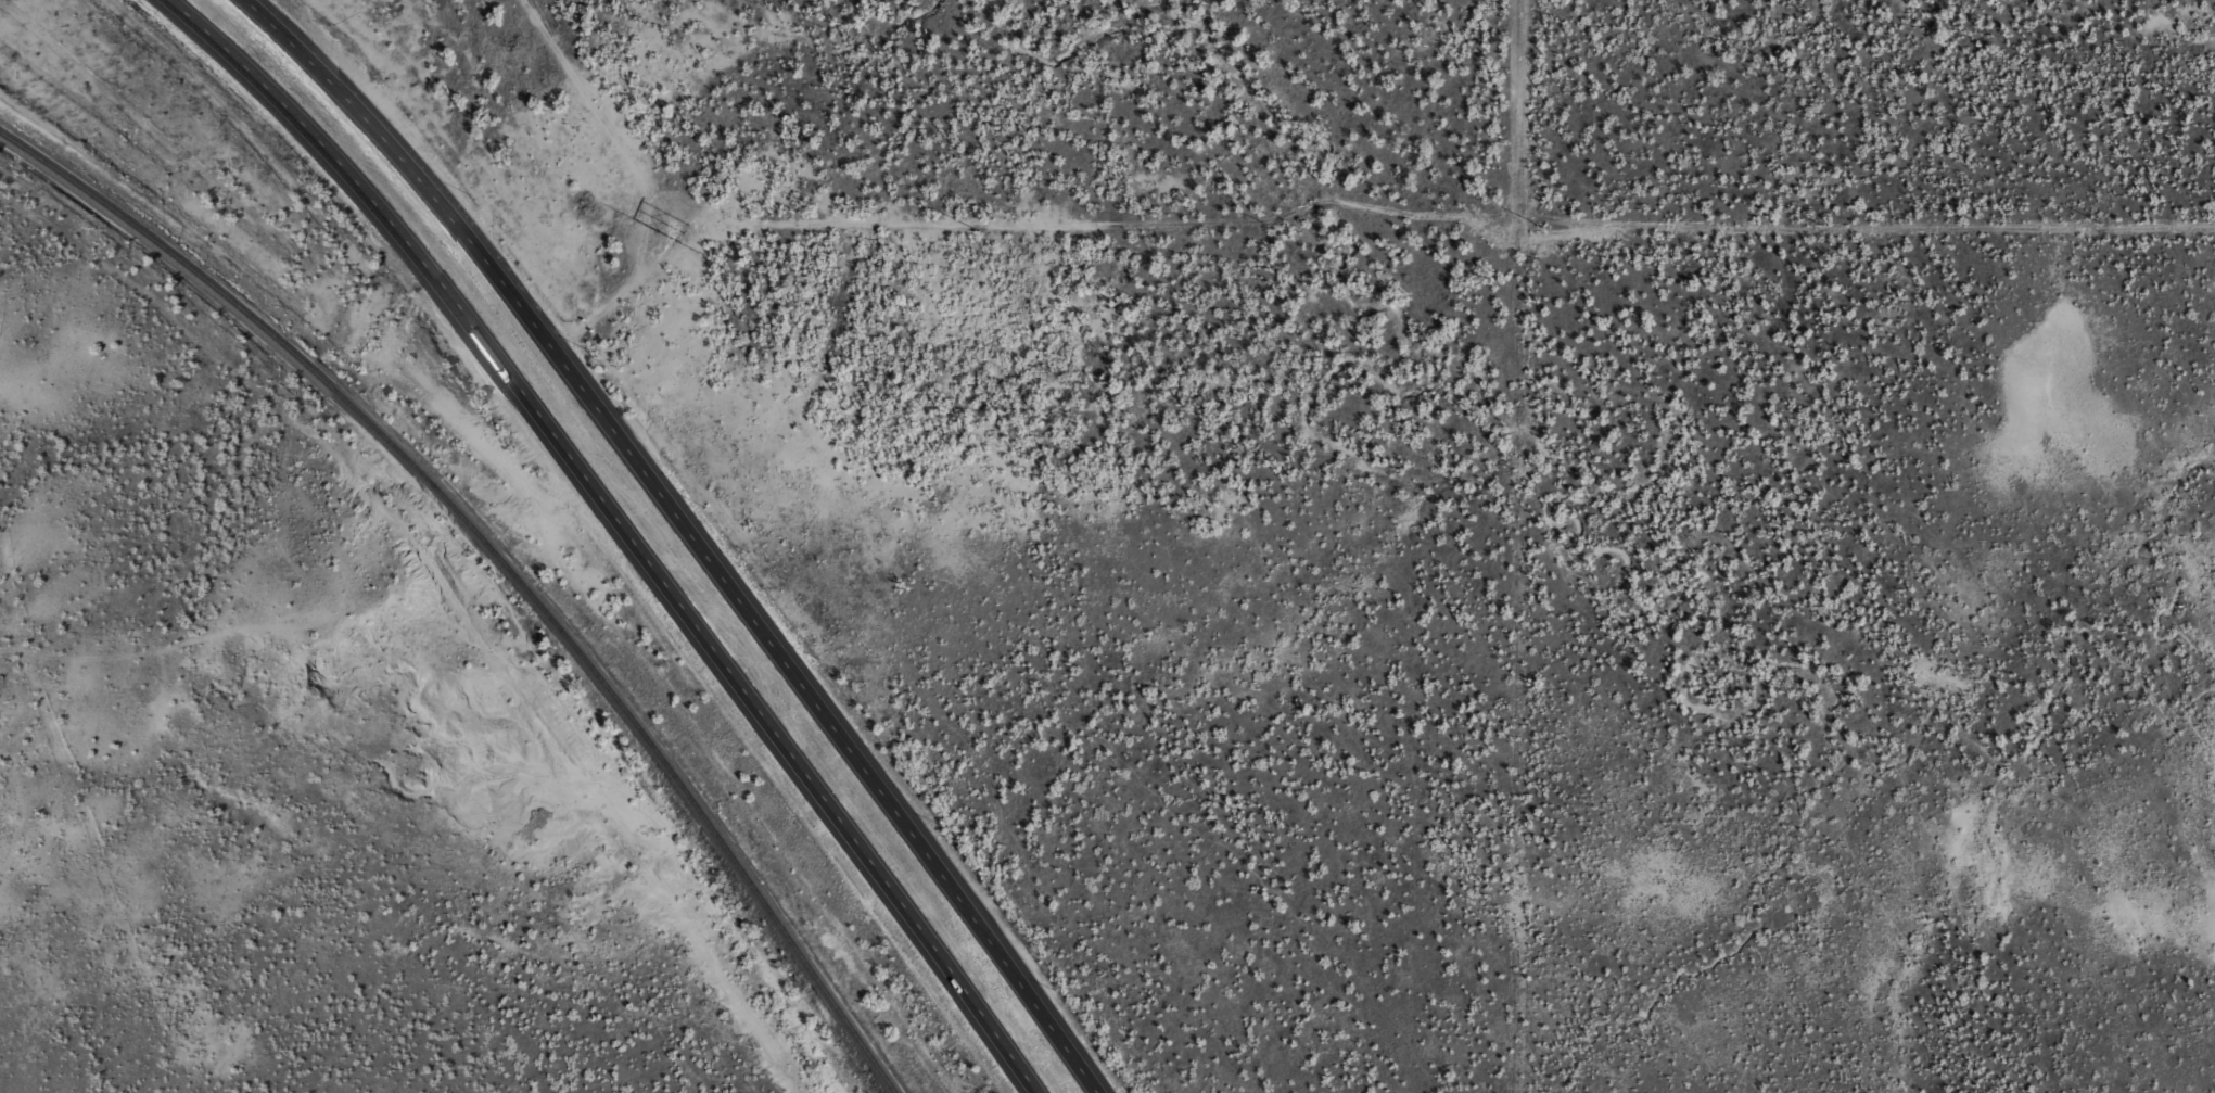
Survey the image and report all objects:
power tower: (685, 233)
road: (621, 529)
road: (693, 534)
railway: (502, 561)

